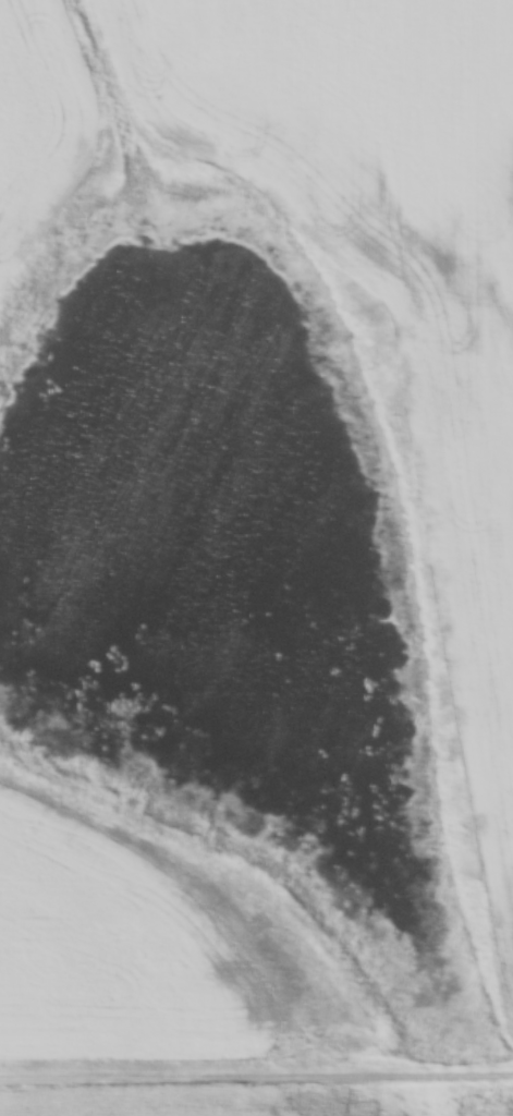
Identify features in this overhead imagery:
road: (256, 1089)

